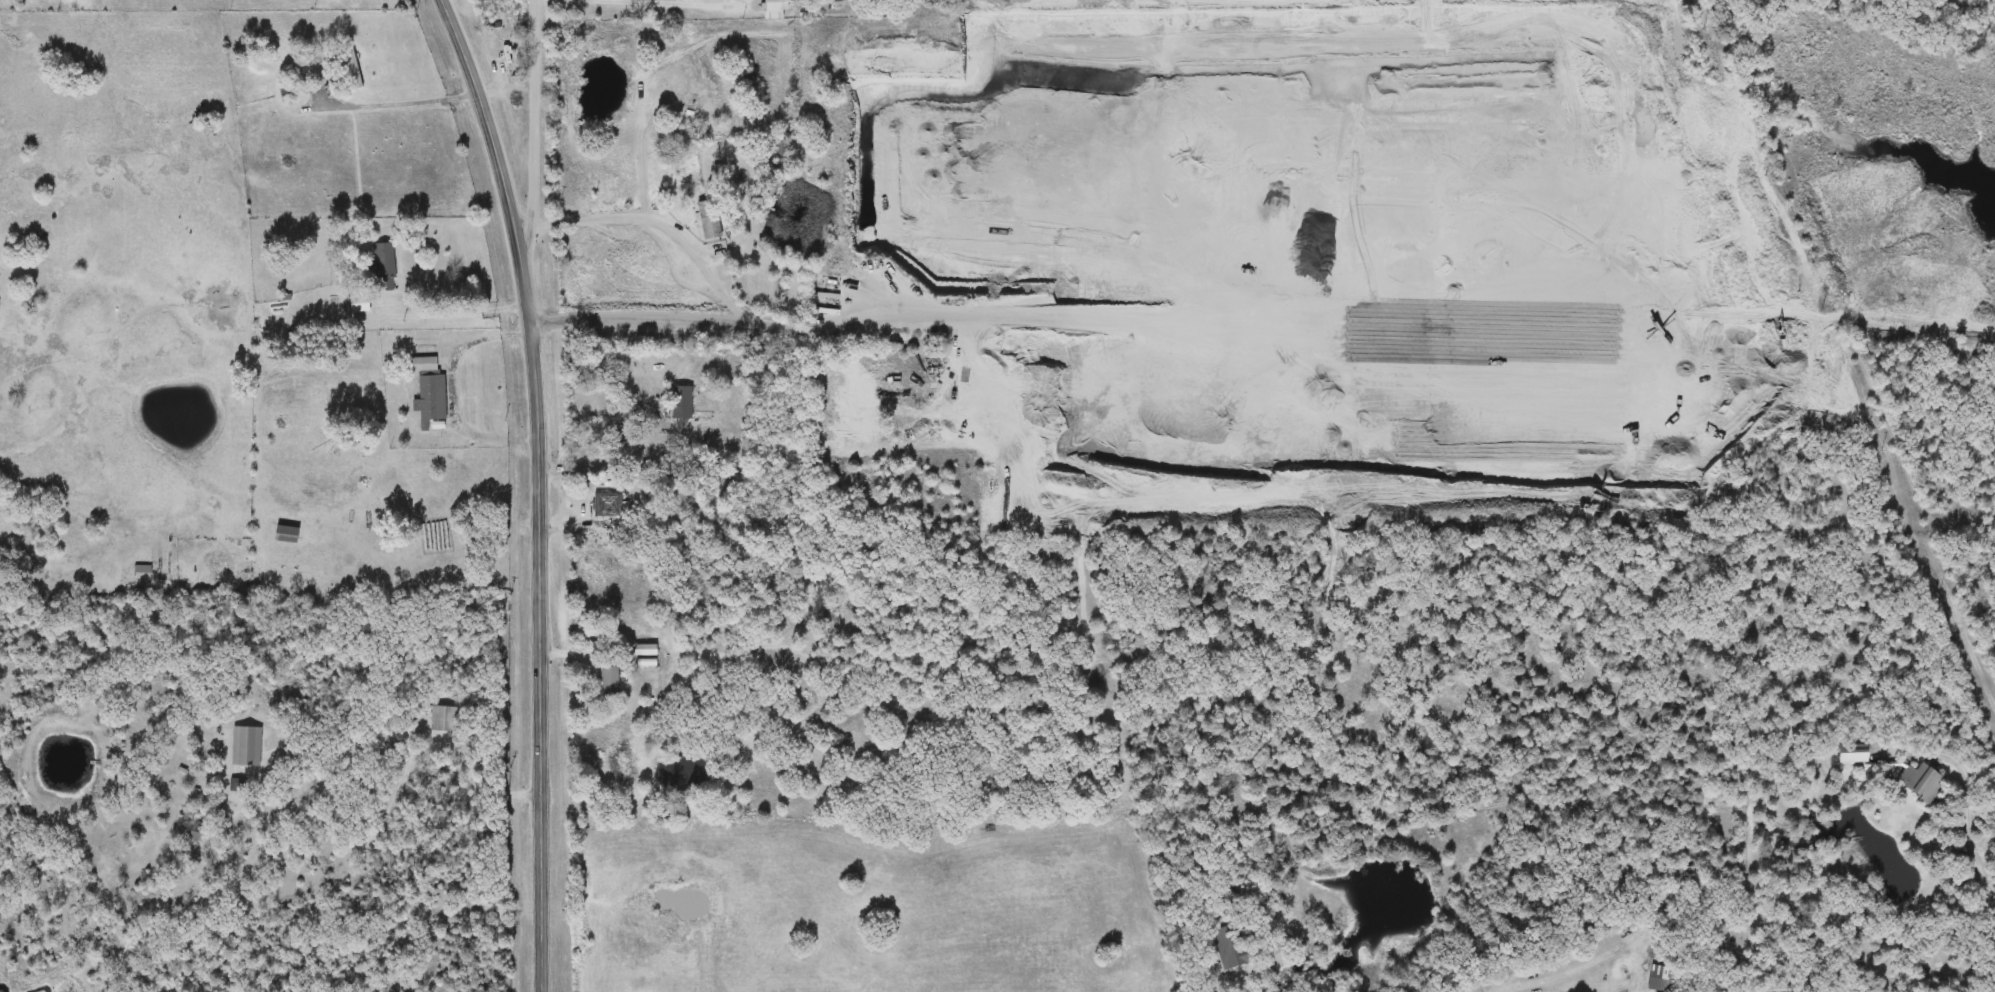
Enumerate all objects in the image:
road: (673, 1)
building: (772, 1)
building: (352, 64)
road: (400, 99)
building: (778, 148)
road: (533, 153)
building: (708, 219)
building: (384, 266)
road: (725, 295)
building: (358, 304)
road: (461, 309)
building: (1956, 319)
road: (456, 386)
building: (431, 402)
road: (605, 454)
road: (540, 489)
building: (608, 505)
building: (285, 534)
building: (141, 569)
building: (608, 681)
building: (441, 719)
building: (245, 746)
building: (1851, 754)
building: (1920, 784)
road: (401, 794)
road: (1971, 813)
building: (187, 829)
building: (1661, 876)
building: (1233, 946)
road: (1561, 974)

